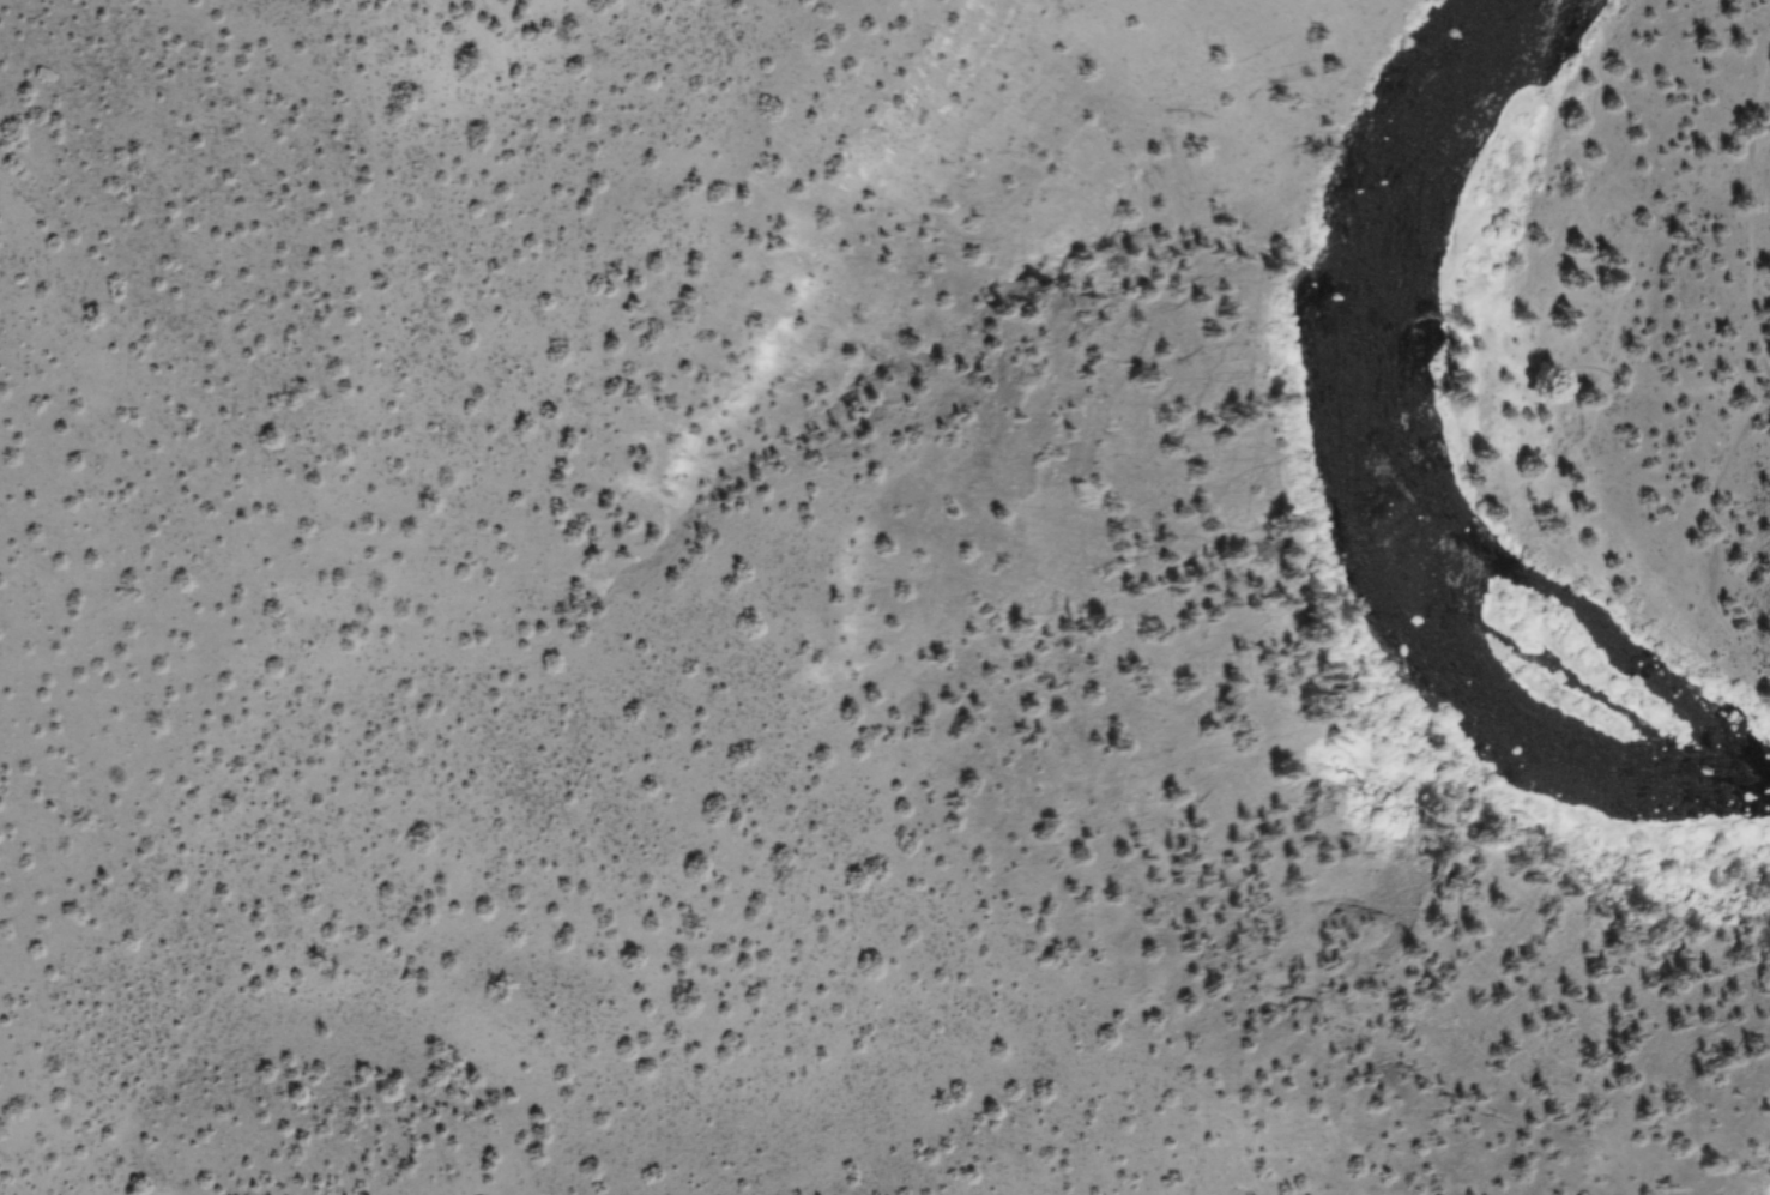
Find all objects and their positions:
river: (1388, 475)

